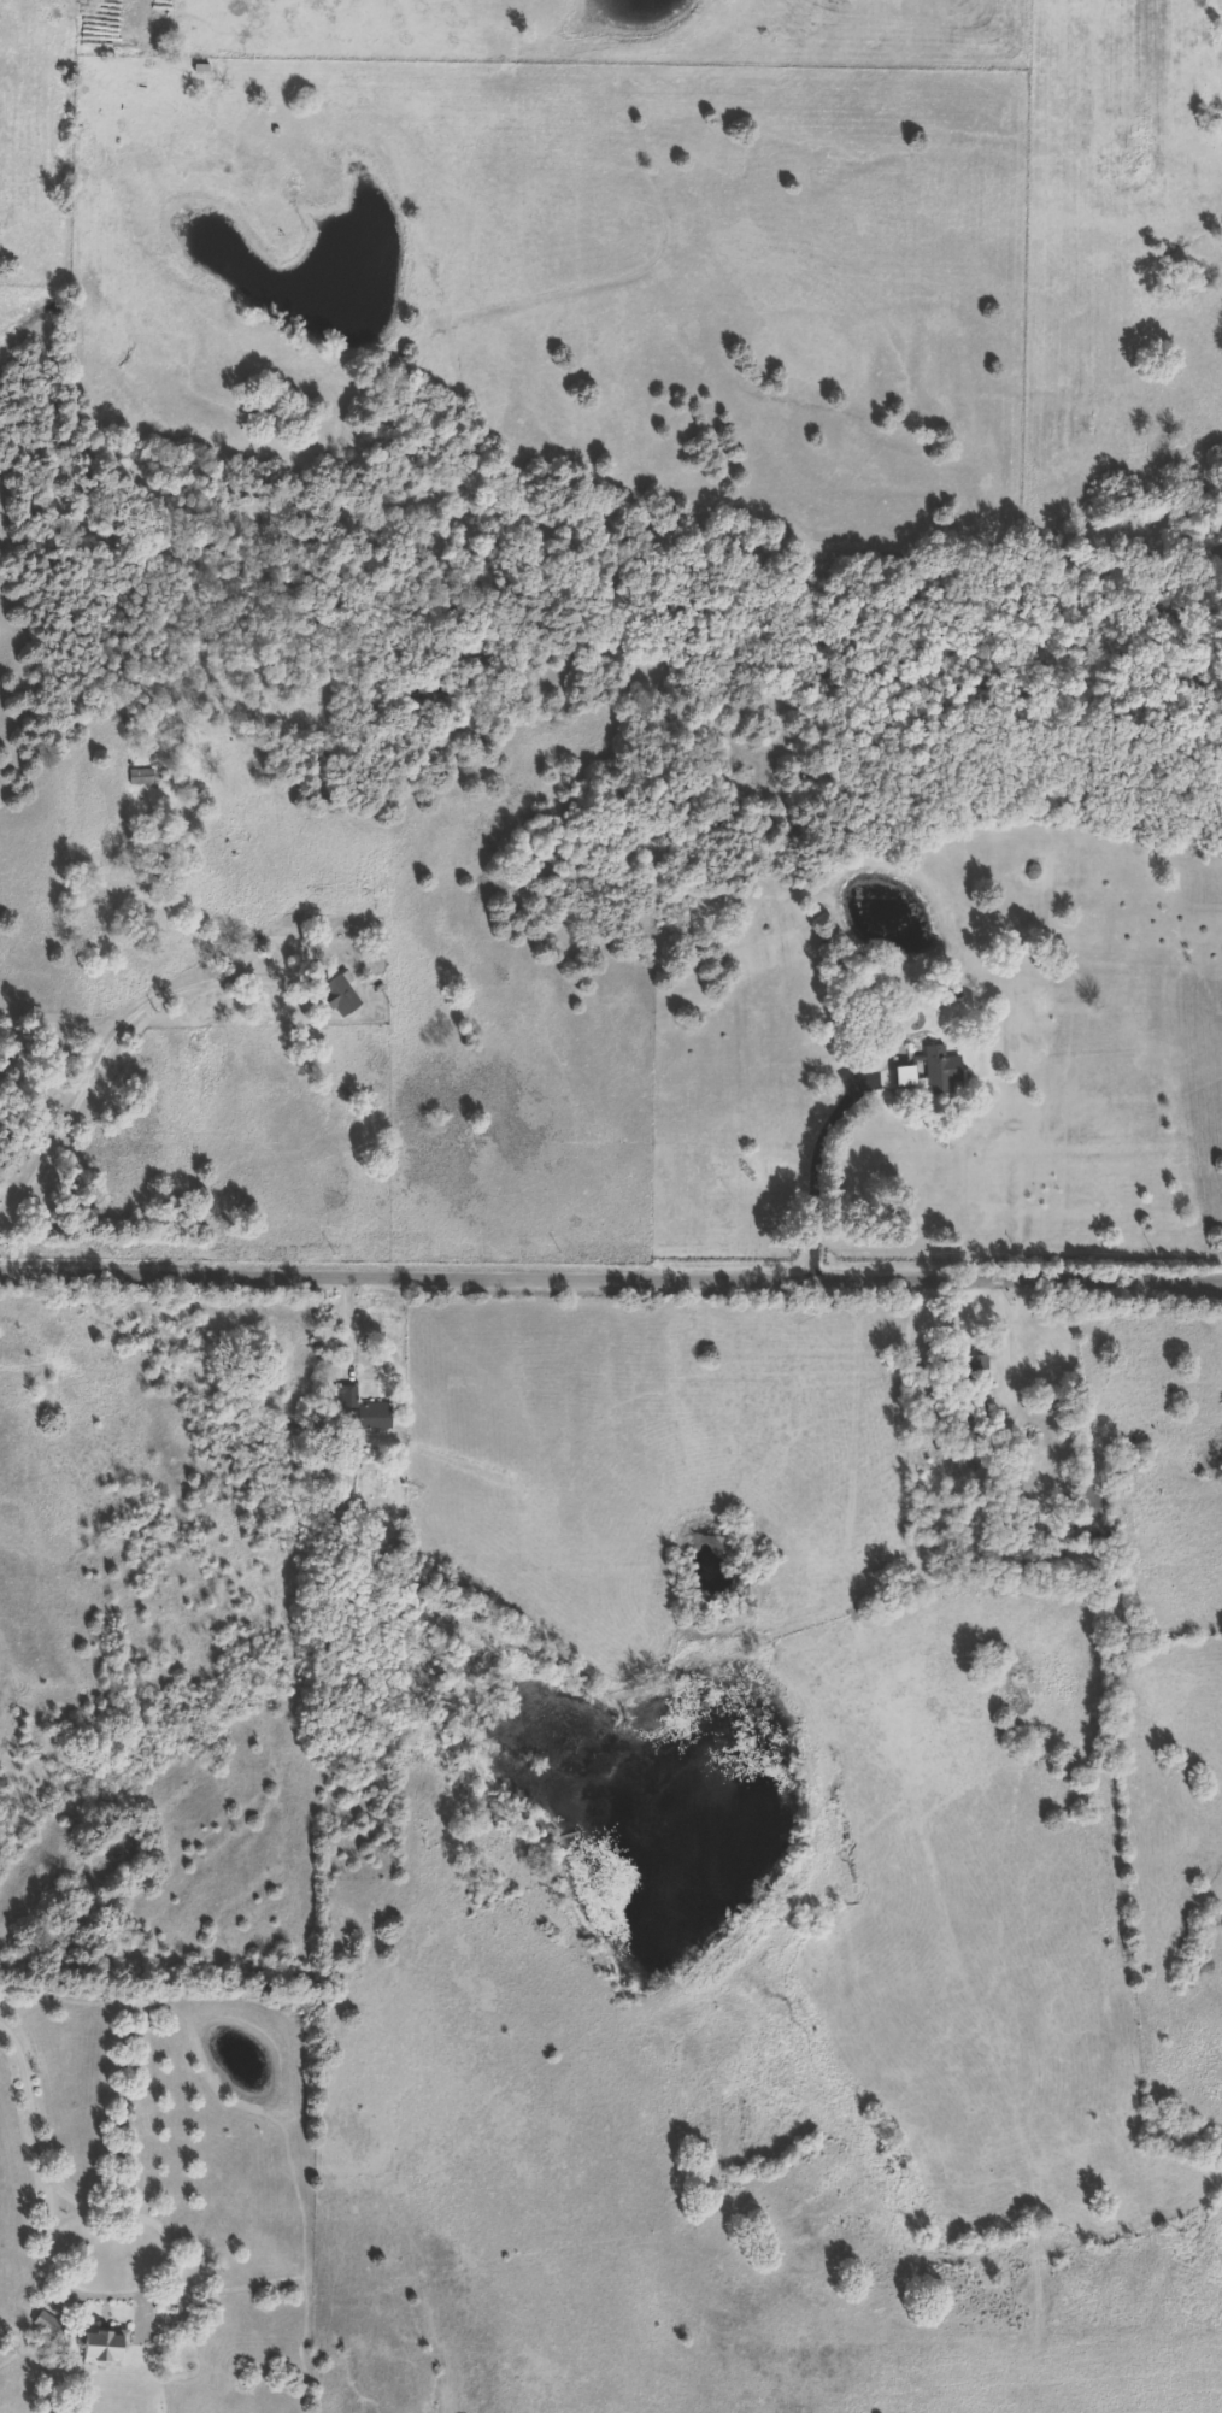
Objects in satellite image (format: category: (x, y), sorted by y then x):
building: (145, 778)
building: (342, 997)
road: (102, 1067)
building: (944, 1072)
building: (906, 1081)
road: (813, 1176)
road: (611, 1276)
road: (353, 1317)
road: (1005, 1329)
building: (975, 1370)
building: (368, 1411)
building: (1092, 1512)
road: (31, 2091)
road: (134, 2283)
building: (52, 2326)
building: (105, 2346)

